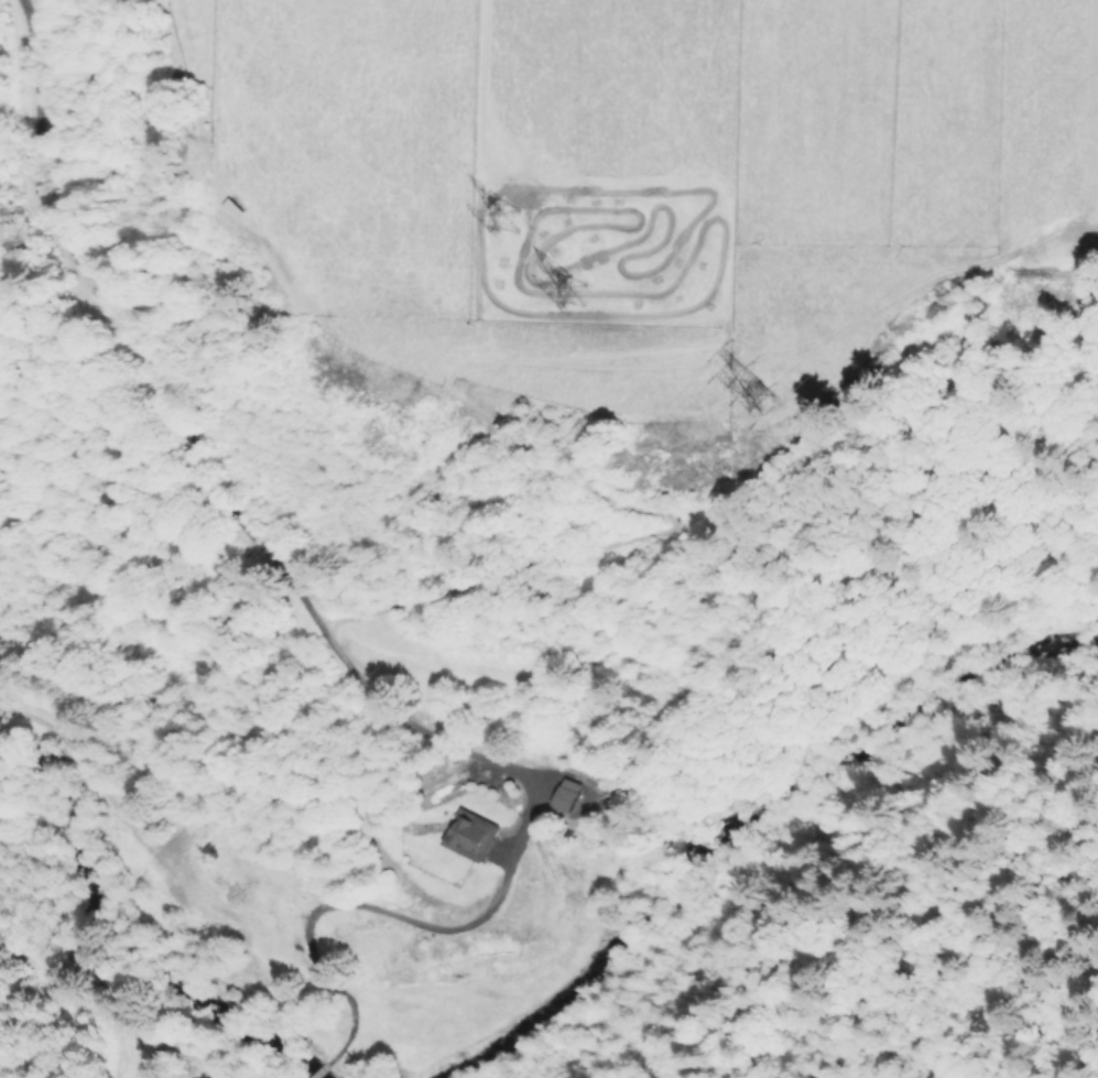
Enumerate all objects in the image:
power tower: (508, 219)
power tower: (575, 293)
power tower: (762, 393)
road: (203, 478)
building: (568, 794)
building: (474, 836)

